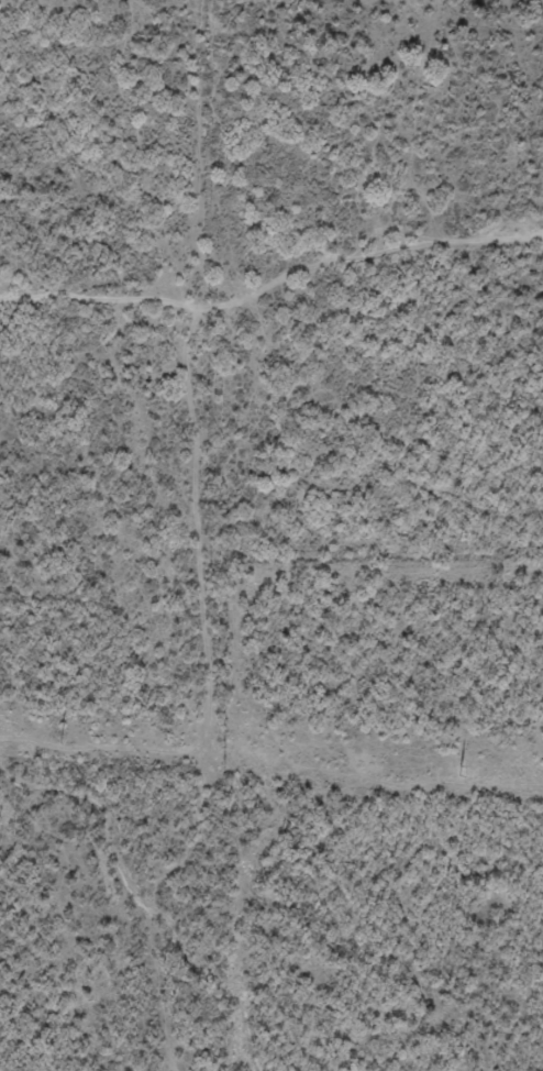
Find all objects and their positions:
power tower: (60, 739)
power tower: (459, 771)

